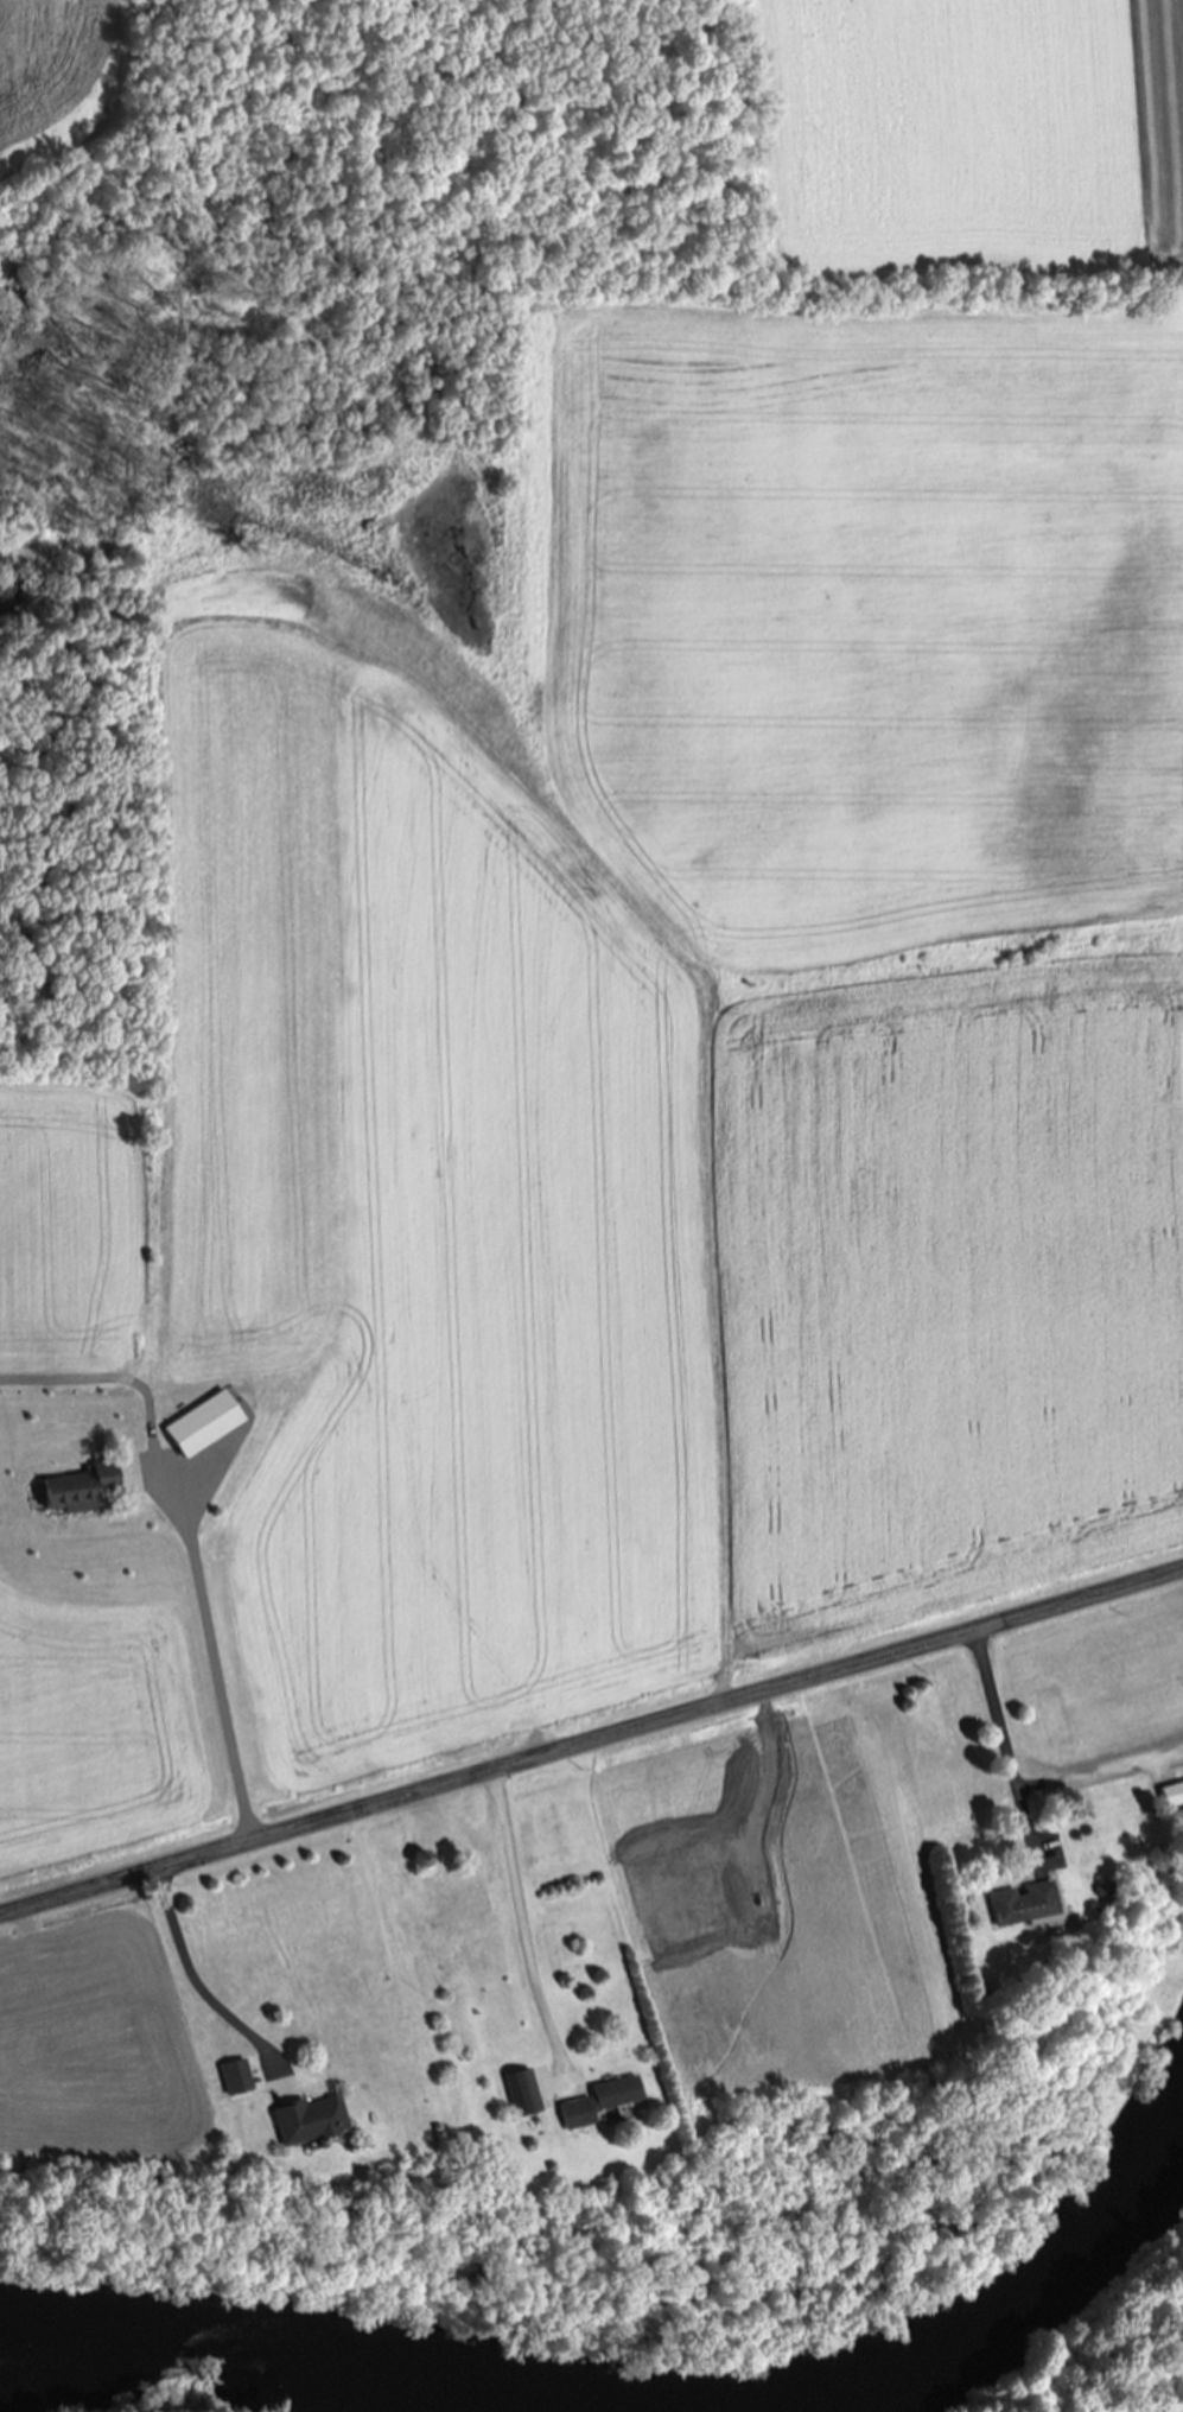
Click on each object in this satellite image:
building: (205, 1424)
building: (89, 1490)
road: (214, 1663)
road: (591, 1740)
road: (1004, 1744)
road: (1101, 1772)
building: (1170, 1796)
building: (1023, 1905)
road: (521, 1923)
road: (195, 1982)
building: (236, 2078)
building: (273, 2087)
building: (611, 2099)
building: (310, 2122)
river: (645, 2405)

